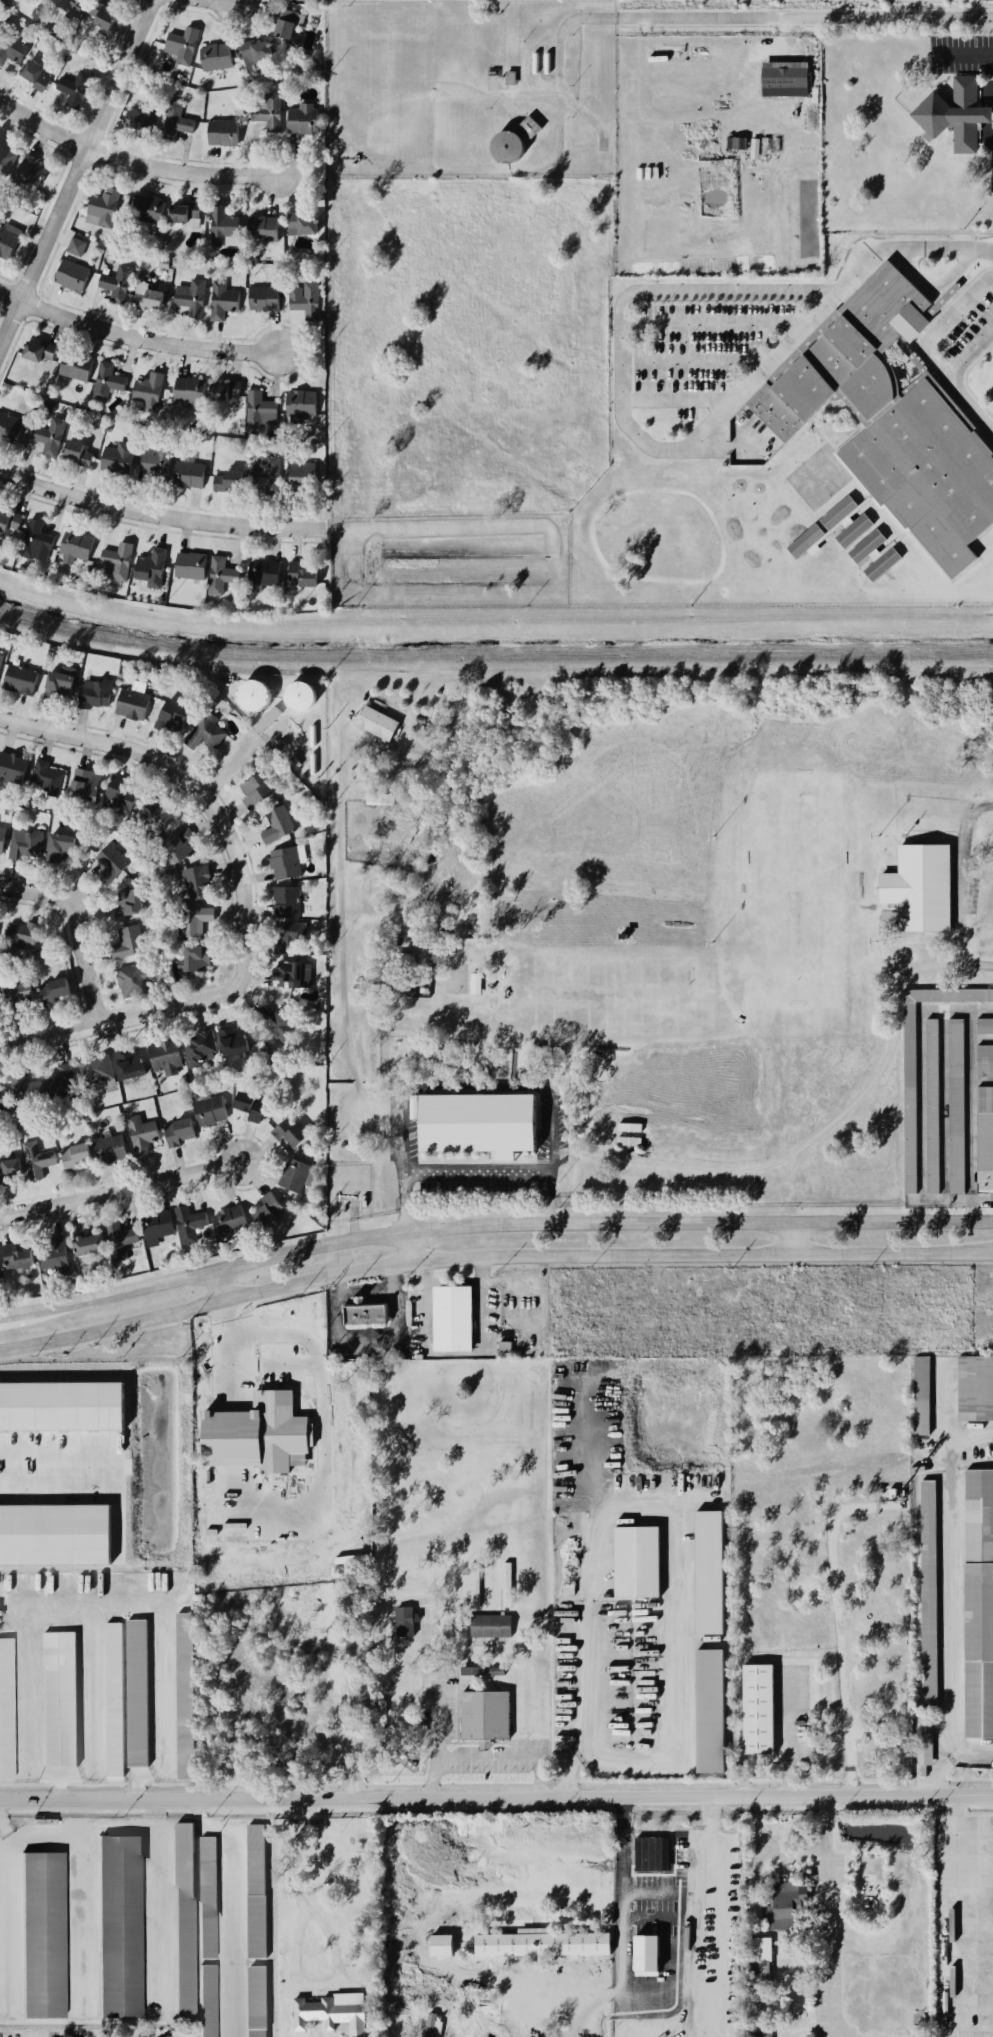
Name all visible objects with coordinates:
building: (70, 6)
road: (744, 18)
building: (103, 19)
building: (280, 28)
road: (779, 38)
building: (180, 44)
building: (250, 48)
parking lot: (961, 54)
road: (968, 54)
building: (8, 55)
building: (215, 55)
building: (36, 75)
building: (784, 79)
building: (73, 85)
road: (558, 90)
road: (983, 92)
road: (507, 106)
building: (266, 111)
building: (953, 113)
building: (130, 117)
building: (301, 118)
building: (175, 119)
building: (527, 126)
road: (985, 131)
building: (219, 132)
building: (735, 142)
building: (505, 147)
building: (5, 157)
road: (131, 159)
road: (74, 170)
parking lot: (991, 170)
building: (26, 171)
building: (94, 207)
building: (143, 209)
building: (182, 216)
building: (216, 224)
building: (300, 225)
building: (257, 228)
building: (6, 243)
building: (74, 246)
road: (904, 246)
road: (885, 257)
building: (70, 275)
road: (972, 278)
building: (115, 279)
road: (990, 279)
flagpole: (960, 282)
road: (935, 286)
building: (146, 294)
building: (302, 296)
building: (189, 298)
building: (263, 299)
building: (221, 302)
road: (950, 315)
road: (713, 323)
parking lot: (966, 326)
road: (753, 327)
road: (761, 327)
road: (135, 335)
road: (753, 336)
road: (761, 336)
road: (934, 338)
road: (641, 341)
road: (758, 342)
parking lot: (700, 346)
road: (754, 348)
building: (37, 351)
road: (777, 351)
road: (968, 355)
road: (754, 357)
road: (702, 360)
building: (73, 365)
road: (964, 380)
building: (105, 381)
building: (182, 389)
building: (148, 390)
building: (222, 390)
road: (623, 394)
road: (957, 396)
building: (299, 400)
road: (675, 400)
road: (745, 401)
road: (838, 403)
building: (258, 408)
road: (836, 413)
road: (836, 421)
building: (890, 421)
road: (805, 424)
building: (9, 425)
building: (45, 433)
road: (820, 437)
road: (721, 446)
building: (76, 450)
building: (115, 455)
building: (153, 460)
building: (264, 469)
building: (187, 474)
building: (296, 474)
park: (817, 478)
building: (220, 480)
building: (835, 510)
road: (161, 512)
building: (2, 519)
building: (13, 521)
building: (853, 530)
building: (32, 539)
building: (803, 539)
building: (865, 545)
building: (74, 546)
road: (595, 549)
building: (116, 561)
building: (881, 563)
building: (189, 566)
building: (148, 568)
building: (261, 570)
building: (215, 574)
building: (299, 575)
road: (957, 576)
building: (1, 657)
building: (17, 678)
building: (55, 686)
building: (249, 693)
building: (92, 694)
building: (295, 695)
building: (126, 704)
building: (164, 717)
building: (266, 718)
building: (418, 718)
building: (373, 720)
building: (203, 733)
building: (278, 743)
building: (11, 767)
building: (46, 779)
building: (81, 785)
road: (199, 787)
building: (296, 787)
building: (250, 791)
building: (114, 793)
building: (379, 798)
building: (297, 807)
building: (154, 813)
building: (274, 824)
building: (2, 834)
building: (23, 843)
building: (174, 846)
building: (56, 848)
building: (107, 860)
building: (283, 862)
road: (957, 870)
building: (194, 881)
building: (918, 886)
building: (125, 901)
building: (283, 901)
building: (190, 921)
road: (83, 922)
road: (340, 924)
building: (22, 932)
building: (288, 937)
building: (126, 941)
building: (193, 958)
building: (405, 961)
road: (975, 963)
building: (423, 967)
building: (286, 975)
building: (130, 980)
building: (472, 983)
building: (404, 984)
building: (17, 992)
building: (53, 993)
road: (122, 1017)
building: (277, 1020)
building: (985, 1025)
building: (233, 1040)
building: (201, 1048)
building: (166, 1056)
building: (984, 1059)
building: (131, 1063)
building: (97, 1069)
building: (65, 1086)
building: (24, 1091)
building: (3, 1097)
building: (910, 1097)
building: (250, 1105)
building: (411, 1106)
building: (933, 1106)
building: (957, 1106)
building: (210, 1109)
building: (478, 1124)
building: (630, 1127)
building: (180, 1131)
building: (290, 1132)
building: (142, 1134)
road: (403, 1134)
road: (553, 1139)
building: (985, 1139)
building: (629, 1141)
road: (807, 1141)
building: (111, 1149)
building: (76, 1156)
building: (37, 1159)
building: (10, 1170)
road: (479, 1171)
building: (296, 1175)
road: (121, 1189)
road: (549, 1199)
road: (404, 1204)
building: (268, 1210)
building: (231, 1220)
building: (189, 1223)
building: (157, 1227)
road: (491, 1229)
building: (120, 1239)
road: (796, 1241)
building: (89, 1244)
building: (55, 1253)
building: (17, 1257)
road: (707, 1257)
building: (0, 1277)
road: (368, 1290)
road: (423, 1292)
road: (481, 1306)
road: (211, 1307)
building: (365, 1314)
building: (453, 1319)
building: (281, 1335)
building: (508, 1350)
road: (452, 1354)
building: (976, 1388)
building: (922, 1396)
building: (254, 1398)
building: (60, 1405)
building: (239, 1418)
building: (333, 1468)
building: (250, 1503)
road: (658, 1506)
building: (54, 1534)
road: (280, 1542)
building: (637, 1561)
building: (709, 1572)
building: (475, 1584)
building: (507, 1584)
building: (929, 1592)
road: (329, 1596)
building: (979, 1604)
road: (61, 1609)
building: (405, 1620)
building: (491, 1625)
road: (837, 1633)
building: (472, 1670)
road: (162, 1673)
building: (137, 1693)
building: (185, 1695)
building: (60, 1698)
building: (114, 1700)
parking lot: (438, 1703)
building: (382, 1706)
building: (759, 1709)
parking lot: (791, 1709)
building: (7, 1710)
building: (711, 1710)
building: (485, 1717)
road: (435, 1740)
building: (923, 1747)
road: (485, 1758)
road: (950, 1759)
road: (540, 1777)
road: (59, 1788)
road: (496, 1797)
road: (957, 1805)
road: (825, 1826)
building: (648, 1853)
building: (256, 1859)
road: (755, 1874)
road: (692, 1877)
road: (78, 1881)
building: (208, 1897)
building: (785, 1904)
road: (231, 1908)
road: (832, 1909)
road: (303, 1915)
building: (185, 1919)
parking lot: (965, 1920)
building: (257, 1926)
building: (121, 1927)
building: (44, 1935)
building: (542, 1943)
building: (442, 1945)
building: (760, 1949)
road: (336, 1962)
building: (438, 1965)
road: (621, 1968)
building: (765, 1971)
building: (257, 1997)
building: (209, 2001)
building: (333, 2012)
building: (797, 2013)
building: (433, 2025)
building: (257, 2033)
building: (759, 2035)
building: (174, 2036)

